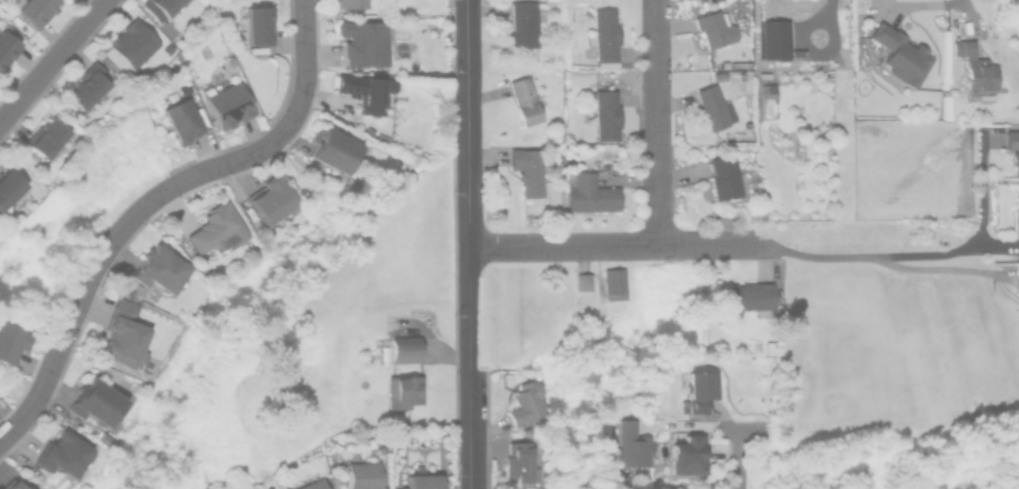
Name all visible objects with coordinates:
road: (948, 2)
building: (346, 3)
building: (162, 8)
building: (30, 10)
building: (521, 23)
building: (257, 24)
building: (711, 28)
building: (602, 35)
building: (771, 39)
building: (361, 40)
building: (129, 42)
building: (7, 48)
building: (897, 54)
road: (52, 60)
building: (974, 68)
building: (717, 73)
building: (84, 86)
building: (765, 87)
building: (363, 89)
building: (522, 99)
building: (225, 101)
building: (711, 105)
building: (603, 112)
building: (177, 118)
road: (655, 123)
road: (287, 125)
building: (379, 136)
building: (45, 138)
building: (1013, 145)
building: (333, 150)
building: (526, 168)
building: (724, 177)
road: (467, 185)
building: (10, 192)
building: (585, 192)
building: (268, 201)
building: (214, 228)
road: (617, 246)
road: (924, 255)
road: (99, 259)
building: (155, 267)
road: (943, 268)
building: (611, 279)
building: (580, 280)
building: (123, 290)
building: (746, 296)
building: (123, 337)
building: (8, 342)
building: (769, 345)
building: (402, 347)
building: (400, 390)
building: (697, 390)
building: (524, 399)
building: (96, 400)
road: (33, 401)
road: (726, 425)
road: (469, 430)
building: (102, 437)
building: (630, 447)
building: (685, 453)
building: (63, 454)
building: (515, 461)
building: (360, 475)
building: (418, 481)
building: (9, 484)
building: (309, 484)

